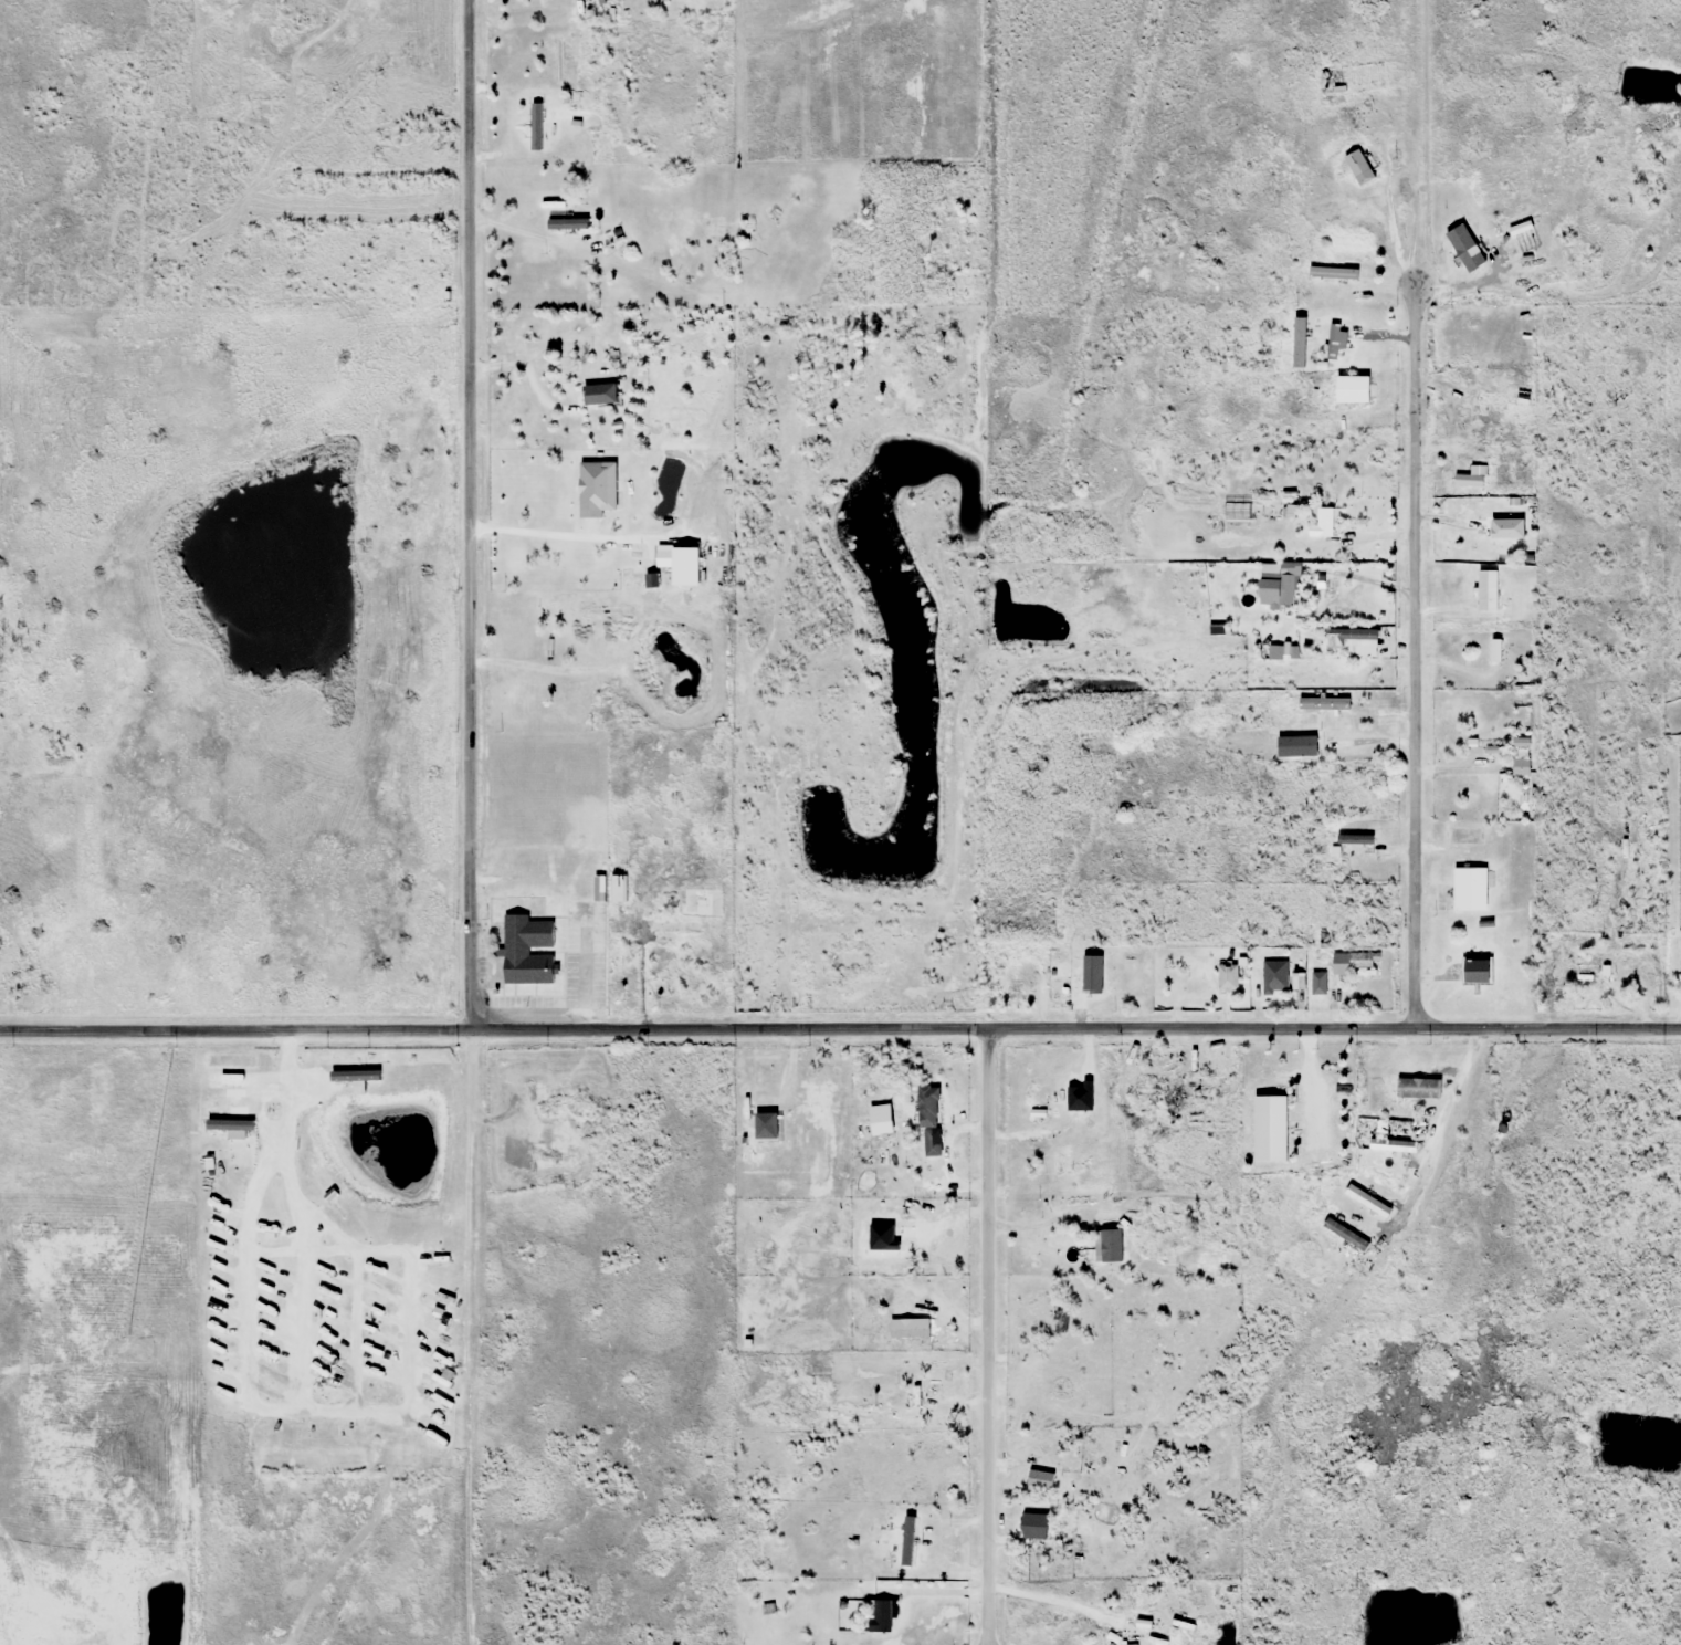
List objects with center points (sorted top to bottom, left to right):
building: (558, 60)
building: (1343, 80)
building: (535, 123)
building: (1358, 167)
building: (1670, 191)
building: (797, 197)
building: (564, 219)
building: (745, 232)
building: (618, 241)
building: (1475, 259)
building: (683, 272)
building: (567, 335)
building: (1336, 342)
building: (1354, 390)
building: (1465, 451)
road: (465, 514)
building: (1324, 521)
building: (1494, 537)
building: (1286, 591)
building: (1486, 595)
building: (602, 611)
building: (551, 629)
building: (1362, 635)
road: (1409, 659)
building: (1520, 768)
building: (1353, 839)
building: (1470, 890)
building: (698, 903)
building: (526, 942)
building: (1353, 963)
building: (1474, 973)
building: (1561, 974)
building: (1021, 976)
building: (1118, 977)
building: (1227, 978)
building: (1274, 985)
building: (1317, 985)
road: (840, 1025)
building: (1162, 1099)
building: (1269, 1128)
building: (1082, 1146)
building: (924, 1163)
building: (1031, 1209)
building: (891, 1253)
building: (1039, 1256)
building: (1197, 1257)
building: (1055, 1322)
building: (904, 1331)
road: (983, 1334)
building: (1038, 1482)
building: (1068, 1487)
building: (1033, 1523)
building: (915, 1543)
road: (1034, 1589)
building: (1169, 1607)
building: (881, 1616)
building: (1131, 1624)

